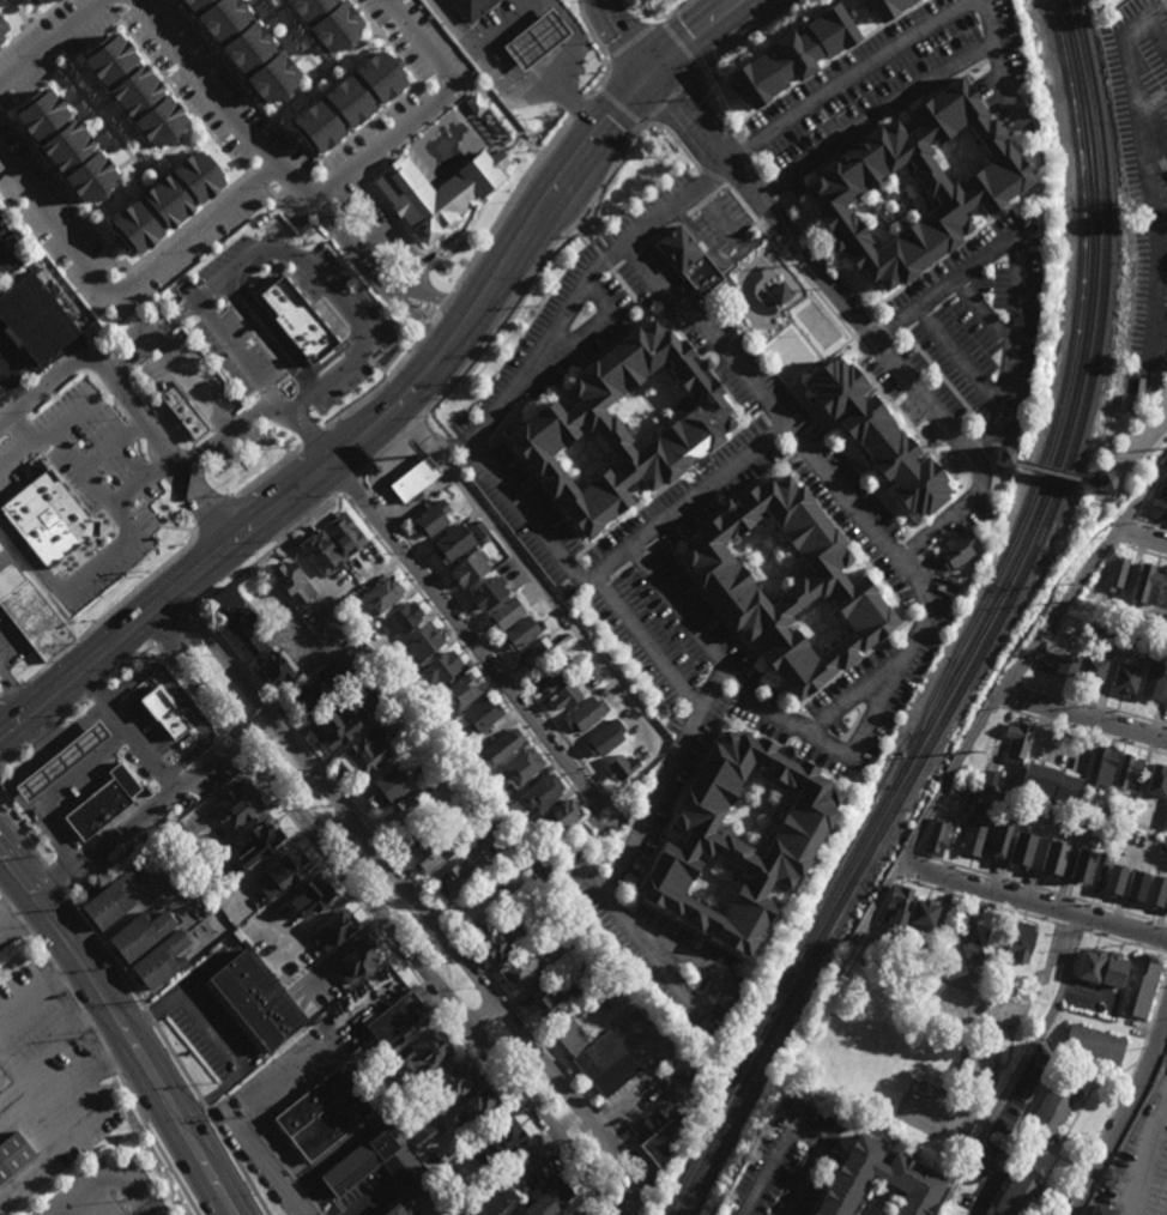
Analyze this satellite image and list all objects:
building: (49, 0)
building: (60, 0)
building: (188, 0)
road: (1166, 0)
building: (40, 1)
building: (472, 7)
building: (885, 7)
road: (671, 12)
building: (329, 20)
road: (502, 22)
road: (1151, 25)
building: (4, 29)
road: (589, 34)
road: (748, 34)
road: (697, 35)
building: (537, 38)
road: (623, 38)
road: (1162, 40)
road: (909, 41)
road: (52, 42)
road: (633, 43)
building: (248, 46)
road: (681, 47)
building: (0, 48)
building: (791, 54)
road: (1127, 67)
traffic signals: (653, 71)
road: (512, 73)
road: (603, 81)
building: (135, 90)
road: (670, 96)
building: (349, 103)
road: (619, 107)
road: (427, 109)
road: (580, 110)
road: (712, 110)
road: (241, 129)
road: (676, 140)
road: (1153, 145)
building: (66, 146)
road: (744, 152)
road: (755, 171)
parking lot: (1143, 175)
road: (738, 176)
road: (712, 179)
road: (1153, 179)
road: (769, 191)
building: (985, 192)
building: (439, 193)
building: (169, 205)
road: (364, 243)
road: (246, 261)
building: (689, 261)
road: (1021, 261)
road: (828, 264)
road: (1153, 265)
road: (536, 271)
road: (817, 271)
road: (458, 284)
road: (123, 285)
building: (781, 294)
road: (446, 298)
road: (987, 309)
building: (298, 320)
building: (31, 322)
road: (422, 325)
road: (885, 332)
road: (852, 337)
road: (264, 338)
road: (152, 339)
road: (235, 351)
road: (960, 358)
road: (344, 363)
road: (943, 381)
road: (13, 386)
railway: (1064, 393)
road: (131, 405)
road: (261, 409)
road: (211, 410)
building: (185, 413)
road: (415, 423)
building: (623, 425)
road: (477, 429)
building: (876, 435)
parking lot: (1141, 435)
road: (313, 437)
road: (367, 440)
road: (1145, 442)
road: (113, 445)
road: (981, 449)
road: (383, 453)
building: (1004, 455)
road: (16, 457)
road: (1142, 461)
road: (992, 463)
road: (1004, 464)
road: (992, 466)
road: (270, 471)
road: (979, 472)
road: (85, 473)
road: (1057, 473)
building: (413, 478)
building: (1103, 480)
road: (346, 484)
road: (1107, 485)
road: (840, 491)
road: (1142, 496)
building: (1160, 501)
road: (685, 502)
road: (216, 514)
building: (429, 518)
road: (947, 519)
road: (1148, 525)
building: (38, 527)
building: (478, 527)
building: (345, 531)
road: (1142, 536)
building: (484, 538)
building: (452, 542)
building: (957, 548)
building: (320, 549)
road: (1142, 552)
road: (266, 555)
road: (520, 562)
building: (467, 567)
building: (1120, 573)
road: (75, 579)
building: (292, 580)
power tower: (1065, 582)
building: (1145, 584)
building: (786, 587)
building: (486, 591)
building: (381, 592)
building: (30, 610)
road: (114, 610)
building: (504, 611)
building: (237, 616)
building: (401, 616)
building: (362, 624)
road: (173, 628)
building: (519, 631)
road: (466, 634)
railway: (978, 634)
railway: (990, 634)
building: (421, 640)
building: (562, 642)
building: (382, 643)
road: (229, 651)
building: (533, 652)
building: (579, 663)
building: (1066, 664)
road: (127, 665)
building: (273, 667)
building: (437, 667)
building: (1092, 669)
road: (308, 670)
building: (400, 673)
building: (550, 675)
building: (592, 679)
building: (1124, 679)
building: (1153, 679)
building: (383, 684)
road: (12, 689)
building: (312, 689)
road: (93, 690)
building: (458, 690)
road: (187, 691)
road: (0, 694)
road: (12, 694)
building: (564, 694)
road: (267, 697)
building: (421, 697)
road: (996, 700)
road: (181, 702)
road: (1094, 705)
road: (71, 709)
building: (163, 709)
road: (764, 709)
building: (583, 713)
building: (480, 714)
road: (1083, 717)
building: (440, 723)
building: (334, 725)
building: (404, 729)
road: (125, 731)
road: (1084, 731)
road: (42, 732)
building: (604, 738)
building: (1016, 742)
road: (231, 744)
road: (52, 746)
building: (498, 748)
power tower: (978, 751)
building: (363, 752)
road: (13, 755)
building: (59, 760)
gas station: (59, 760)
building: (522, 766)
building: (621, 766)
building: (1101, 769)
building: (1129, 773)
building: (476, 774)
road: (14, 775)
road: (86, 776)
building: (416, 776)
building: (1157, 781)
building: (1051, 782)
building: (461, 785)
building: (382, 788)
building: (540, 792)
road: (604, 799)
building: (101, 802)
building: (237, 803)
building: (503, 808)
building: (400, 814)
building: (491, 816)
railway: (896, 816)
building: (558, 817)
road: (141, 820)
road: (334, 826)
building: (176, 833)
road: (618, 833)
building: (937, 836)
road: (23, 839)
building: (259, 839)
building: (973, 839)
building: (1000, 839)
building: (746, 845)
building: (186, 846)
building: (433, 848)
building: (1022, 848)
building: (1053, 858)
building: (1082, 865)
road: (585, 870)
building: (282, 871)
building: (1099, 872)
road: (52, 878)
building: (453, 881)
building: (1114, 881)
railway: (864, 883)
building: (1137, 885)
road: (1044, 890)
building: (1156, 891)
building: (309, 897)
building: (110, 899)
road: (612, 903)
building: (899, 906)
road: (1050, 908)
building: (207, 909)
building: (923, 914)
building: (291, 921)
building: (334, 927)
building: (138, 933)
road: (976, 938)
building: (500, 941)
building: (1021, 941)
road: (464, 944)
road: (104, 947)
building: (972, 950)
building: (158, 960)
building: (355, 960)
building: (1089, 965)
building: (525, 967)
building: (1114, 969)
road: (58, 971)
power tower: (838, 978)
road: (948, 978)
building: (310, 984)
road: (422, 985)
building: (1142, 987)
building: (303, 991)
road: (22, 1001)
building: (254, 1001)
building: (555, 1001)
road: (484, 1015)
road: (968, 1015)
road: (150, 1016)
building: (393, 1020)
road: (126, 1024)
park: (924, 1035)
road: (217, 1036)
building: (570, 1039)
road: (1038, 1039)
building: (1094, 1044)
road: (50, 1048)
road: (1011, 1050)
building: (421, 1058)
road: (114, 1062)
building: (605, 1065)
road: (1092, 1069)
road: (92, 1072)
road: (1112, 1077)
building: (455, 1081)
building: (4, 1082)
road: (42, 1092)
road: (1121, 1093)
road: (1028, 1105)
building: (1053, 1107)
road: (1166, 1110)
building: (477, 1112)
road: (1077, 1113)
building: (322, 1116)
road: (1124, 1117)
road: (212, 1119)
park: (933, 1120)
building: (411, 1126)
road: (802, 1131)
building: (424, 1138)
building: (506, 1140)
building: (664, 1142)
road: (155, 1144)
road: (55, 1150)
road: (1033, 1150)
road: (1047, 1150)
building: (12, 1155)
road: (1149, 1157)
building: (461, 1160)
road: (265, 1162)
building: (355, 1167)
building: (879, 1168)
road: (1156, 1168)
road: (1050, 1171)
road: (108, 1178)
parking lot: (259, 1178)
road: (987, 1180)
parking lot: (105, 1191)
building: (1016, 1195)
road: (629, 1197)
building: (491, 1198)
building: (550, 1201)
building: (1101, 1210)
building: (393, 1211)
building: (570, 1213)
building: (575, 1213)
building: (504, 1214)

